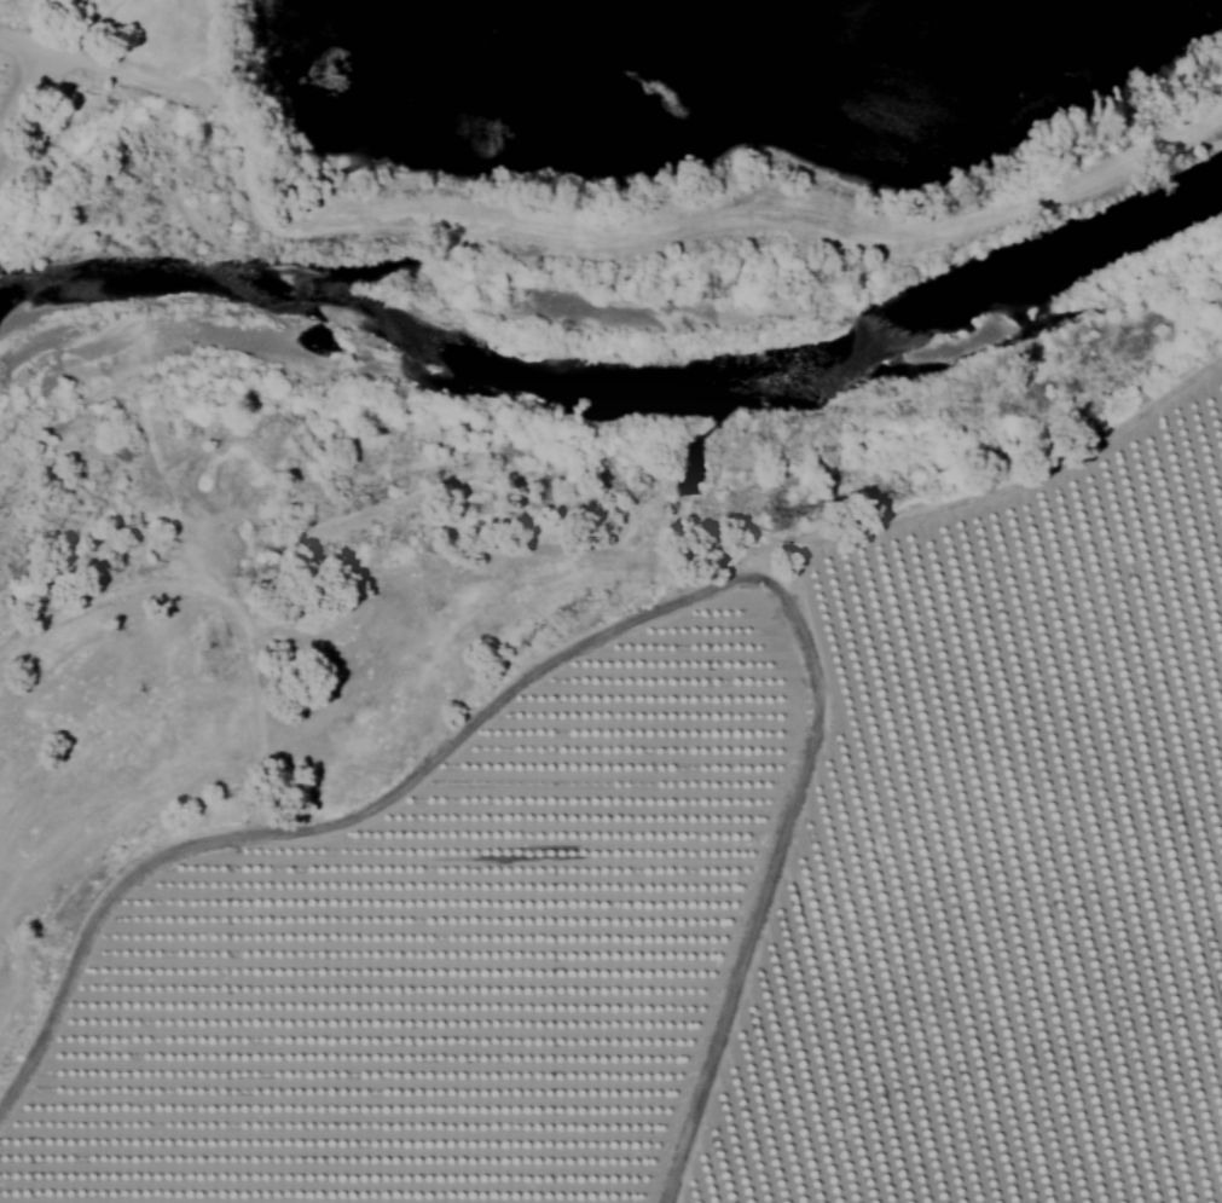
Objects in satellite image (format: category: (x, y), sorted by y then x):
road: (80, 33)
crop: (1, 39)
road: (17, 46)
road: (16, 85)
road: (595, 239)
river: (618, 383)
road: (769, 878)
crop: (728, 901)

